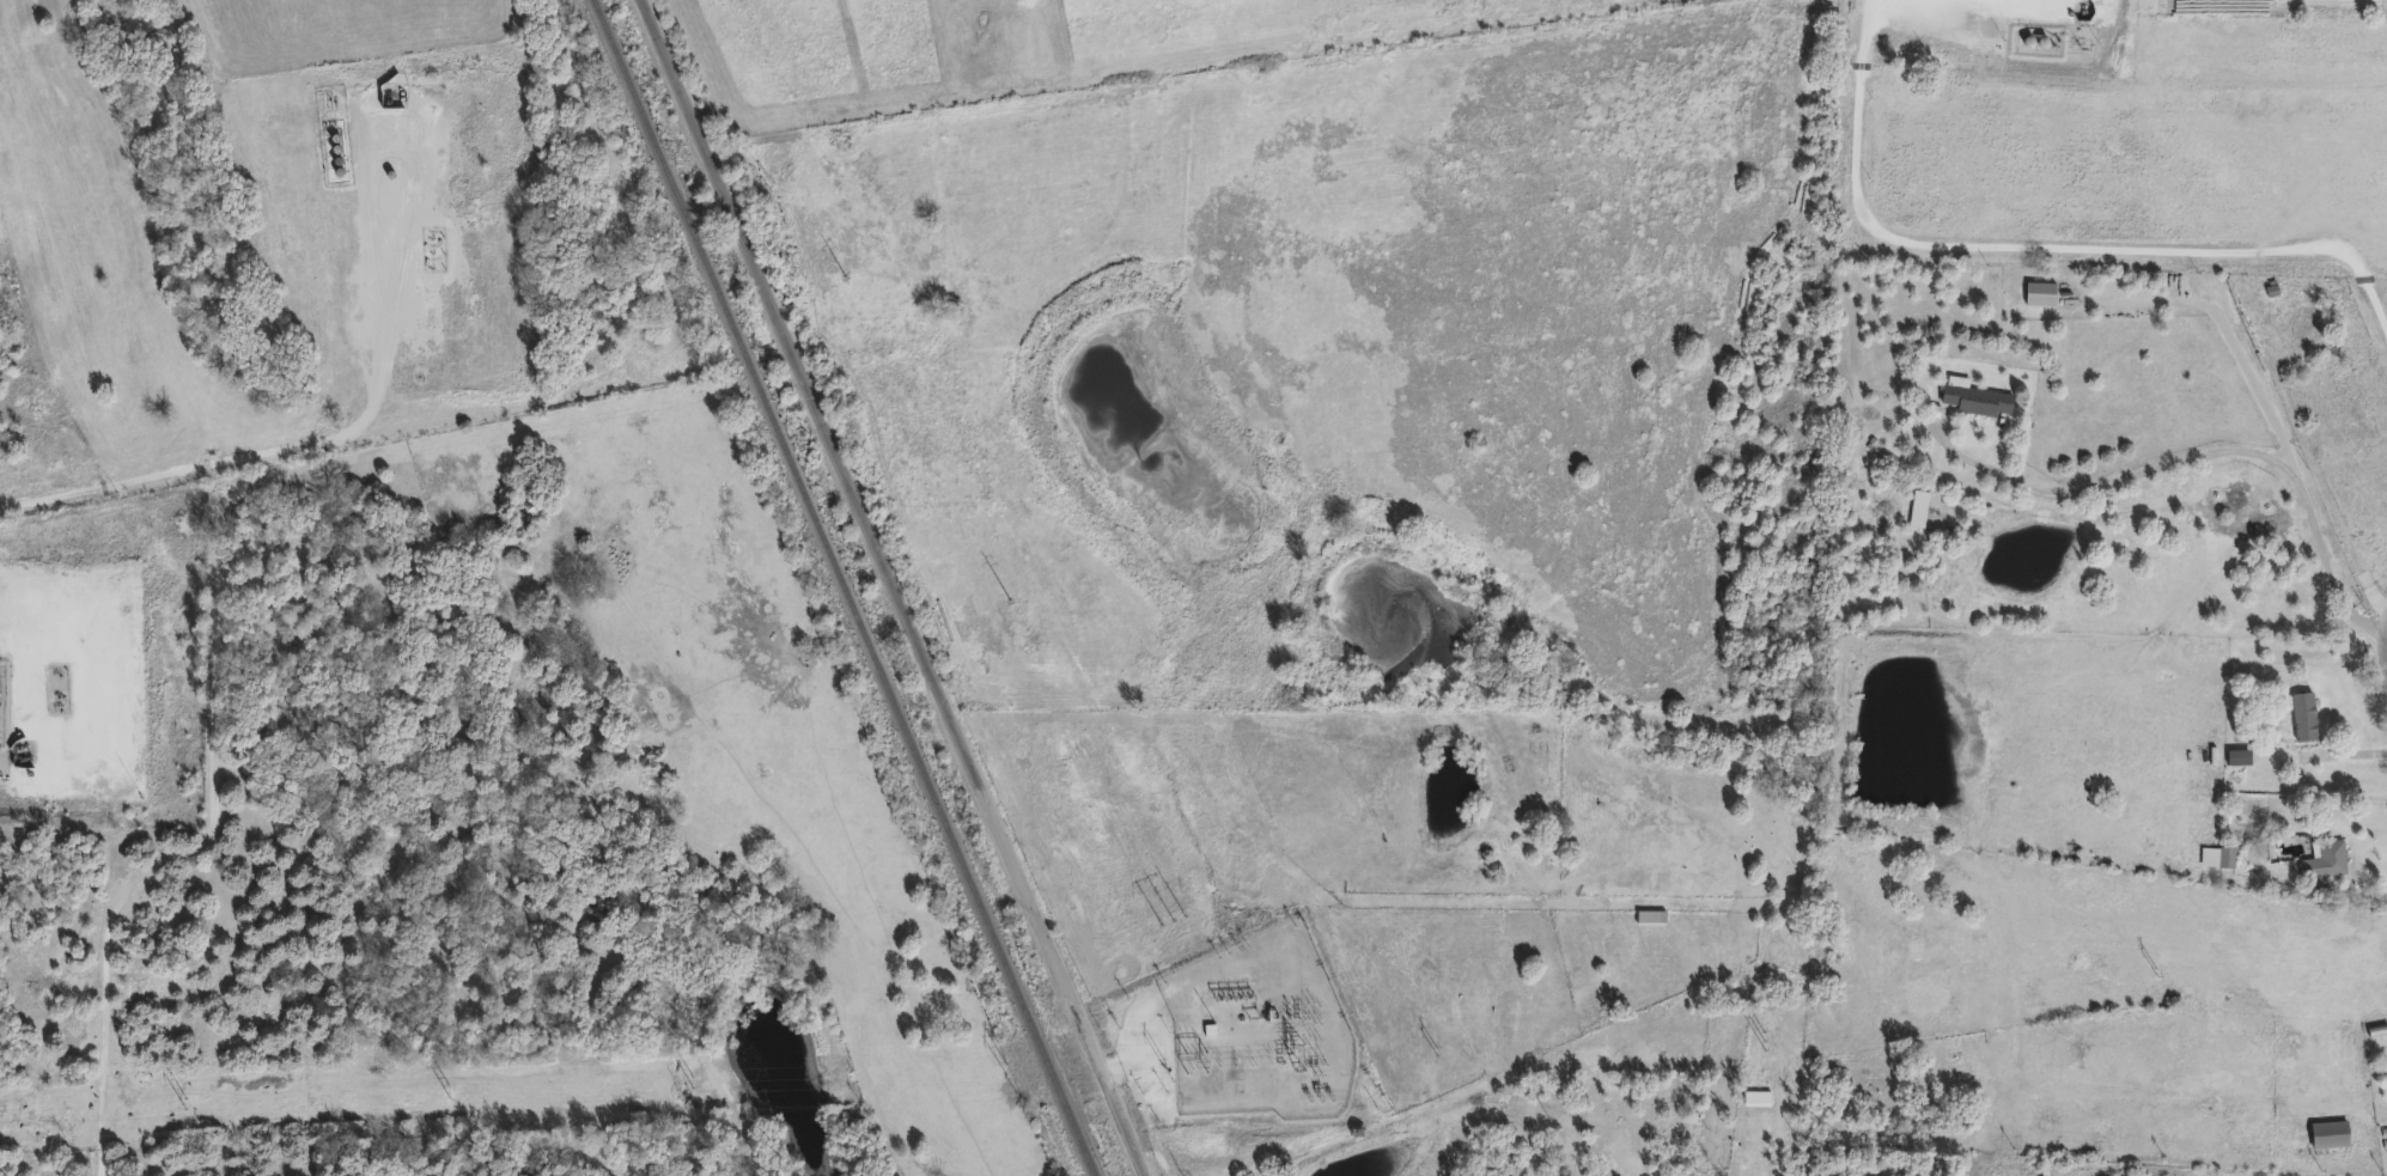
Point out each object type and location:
road: (2034, 248)
building: (2036, 292)
road: (2217, 312)
building: (2301, 325)
building: (1972, 401)
road: (321, 439)
road: (2205, 453)
railway: (842, 587)
road: (899, 587)
building: (2301, 715)
road: (2345, 754)
building: (2234, 756)
building: (2215, 855)
building: (2321, 859)
road: (2367, 891)
building: (1649, 916)
power tower: (2156, 970)
power tower: (1765, 1038)
power tower: (1437, 1048)
power substation: (1241, 1053)
power tower: (1304, 1053)
road: (104, 1056)
power tower: (1164, 1059)
power tower: (1006, 1066)
power tower: (447, 1090)
power tower: (184, 1101)
building: (2327, 1132)

